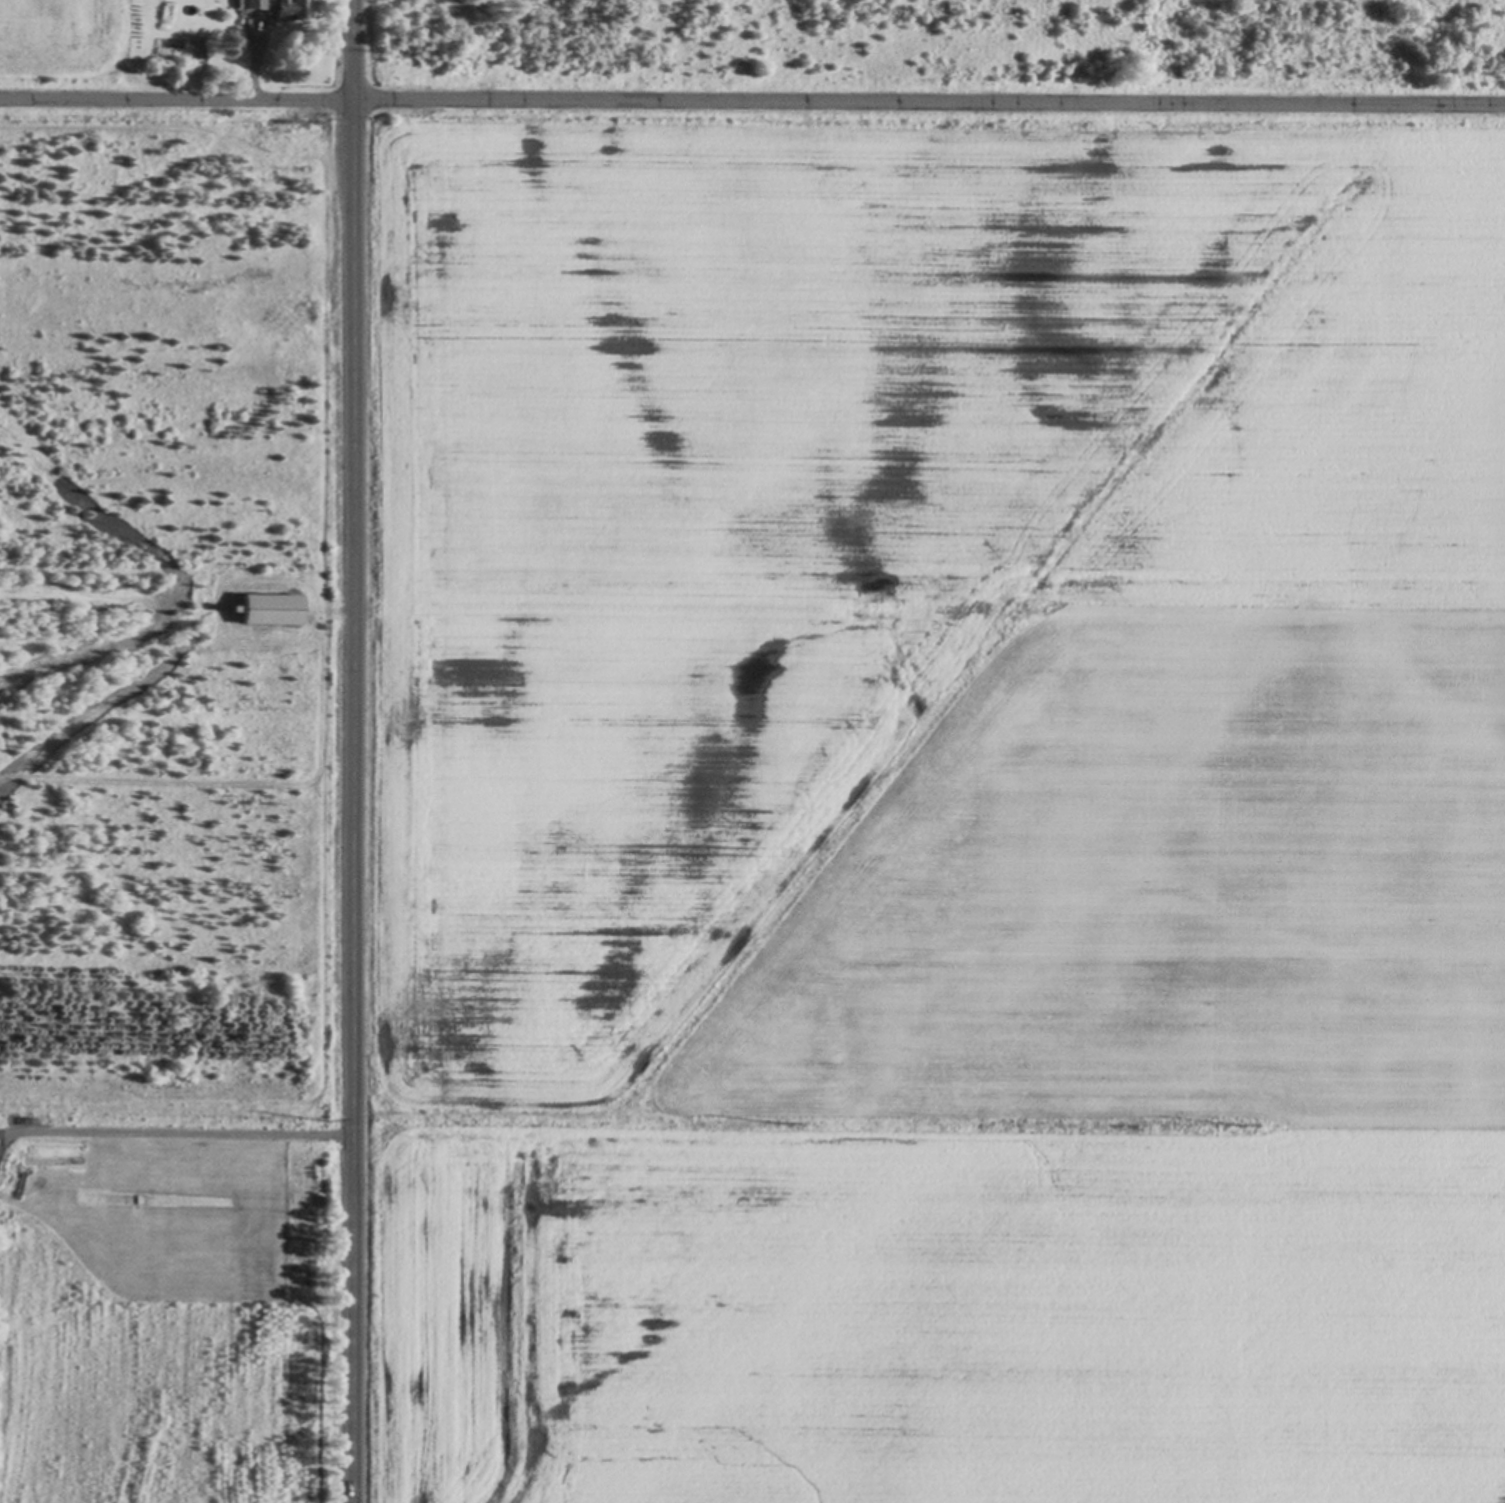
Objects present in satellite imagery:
building: (251, 5)
building: (289, 8)
building: (202, 48)
road: (752, 101)
building: (269, 607)
road: (352, 751)
power tower: (328, 1116)
power tower: (1239, 1122)
power tower: (782, 1124)
road: (0, 1131)
road: (0, 1132)
road: (177, 1132)

